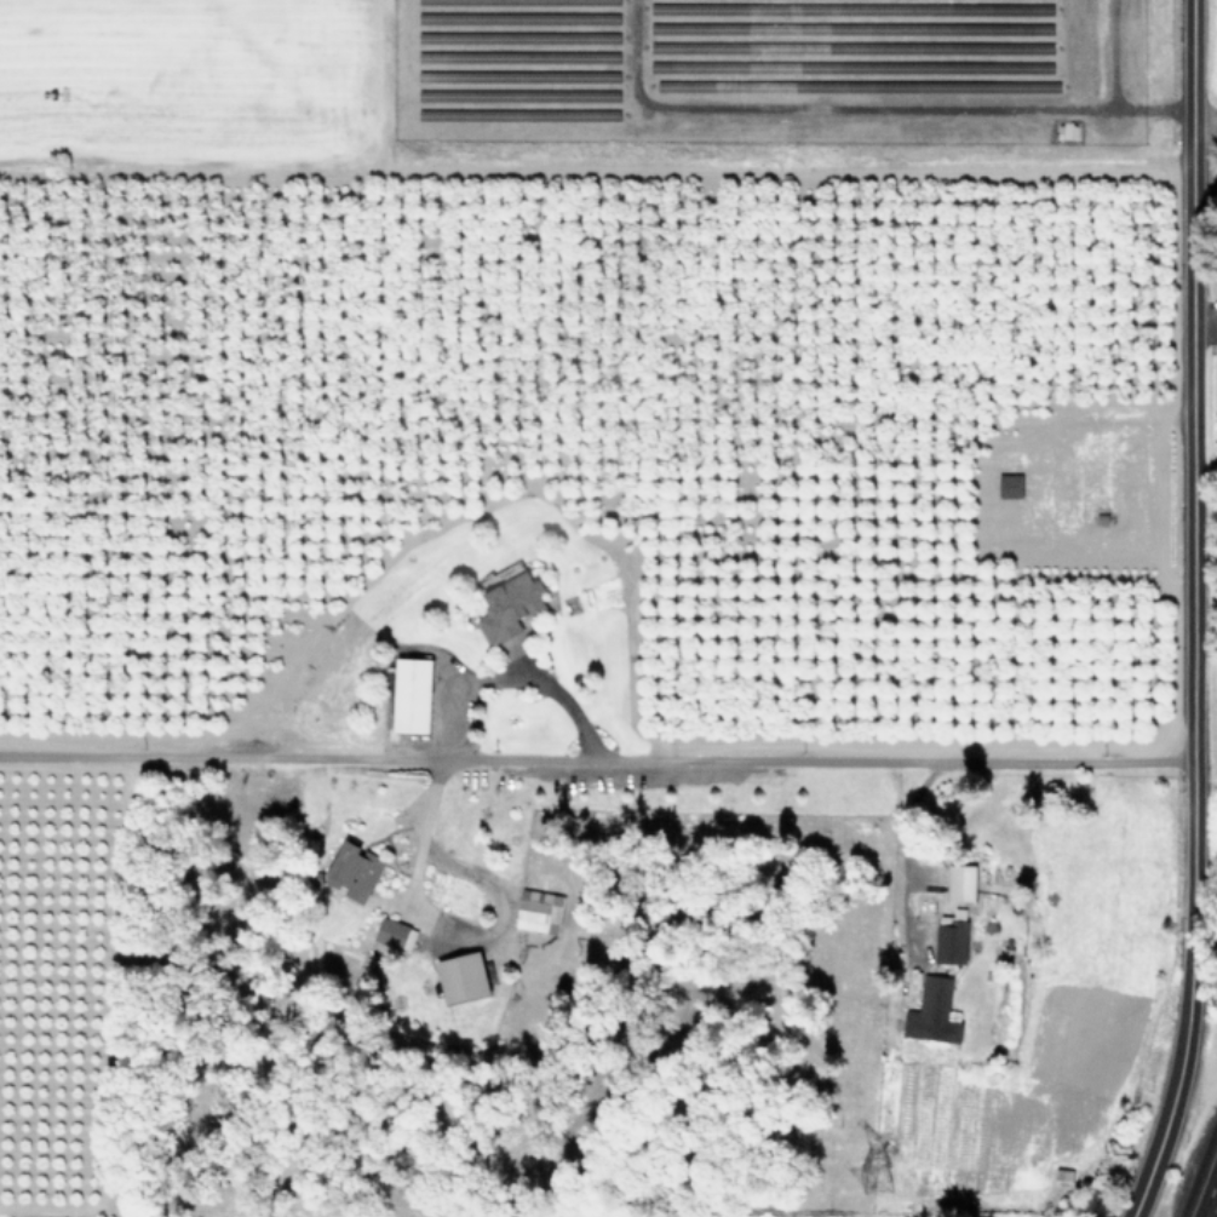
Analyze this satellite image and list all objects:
road: (941, 111)
road: (1205, 117)
road: (1205, 188)
crop: (608, 360)
building: (1009, 486)
building: (509, 605)
road: (1193, 613)
road: (515, 676)
building: (412, 694)
road: (596, 758)
building: (354, 871)
building: (960, 882)
building: (538, 911)
building: (394, 934)
building: (951, 936)
building: (461, 977)
building: (932, 1011)
power tower: (865, 1176)
road: (1211, 1201)

